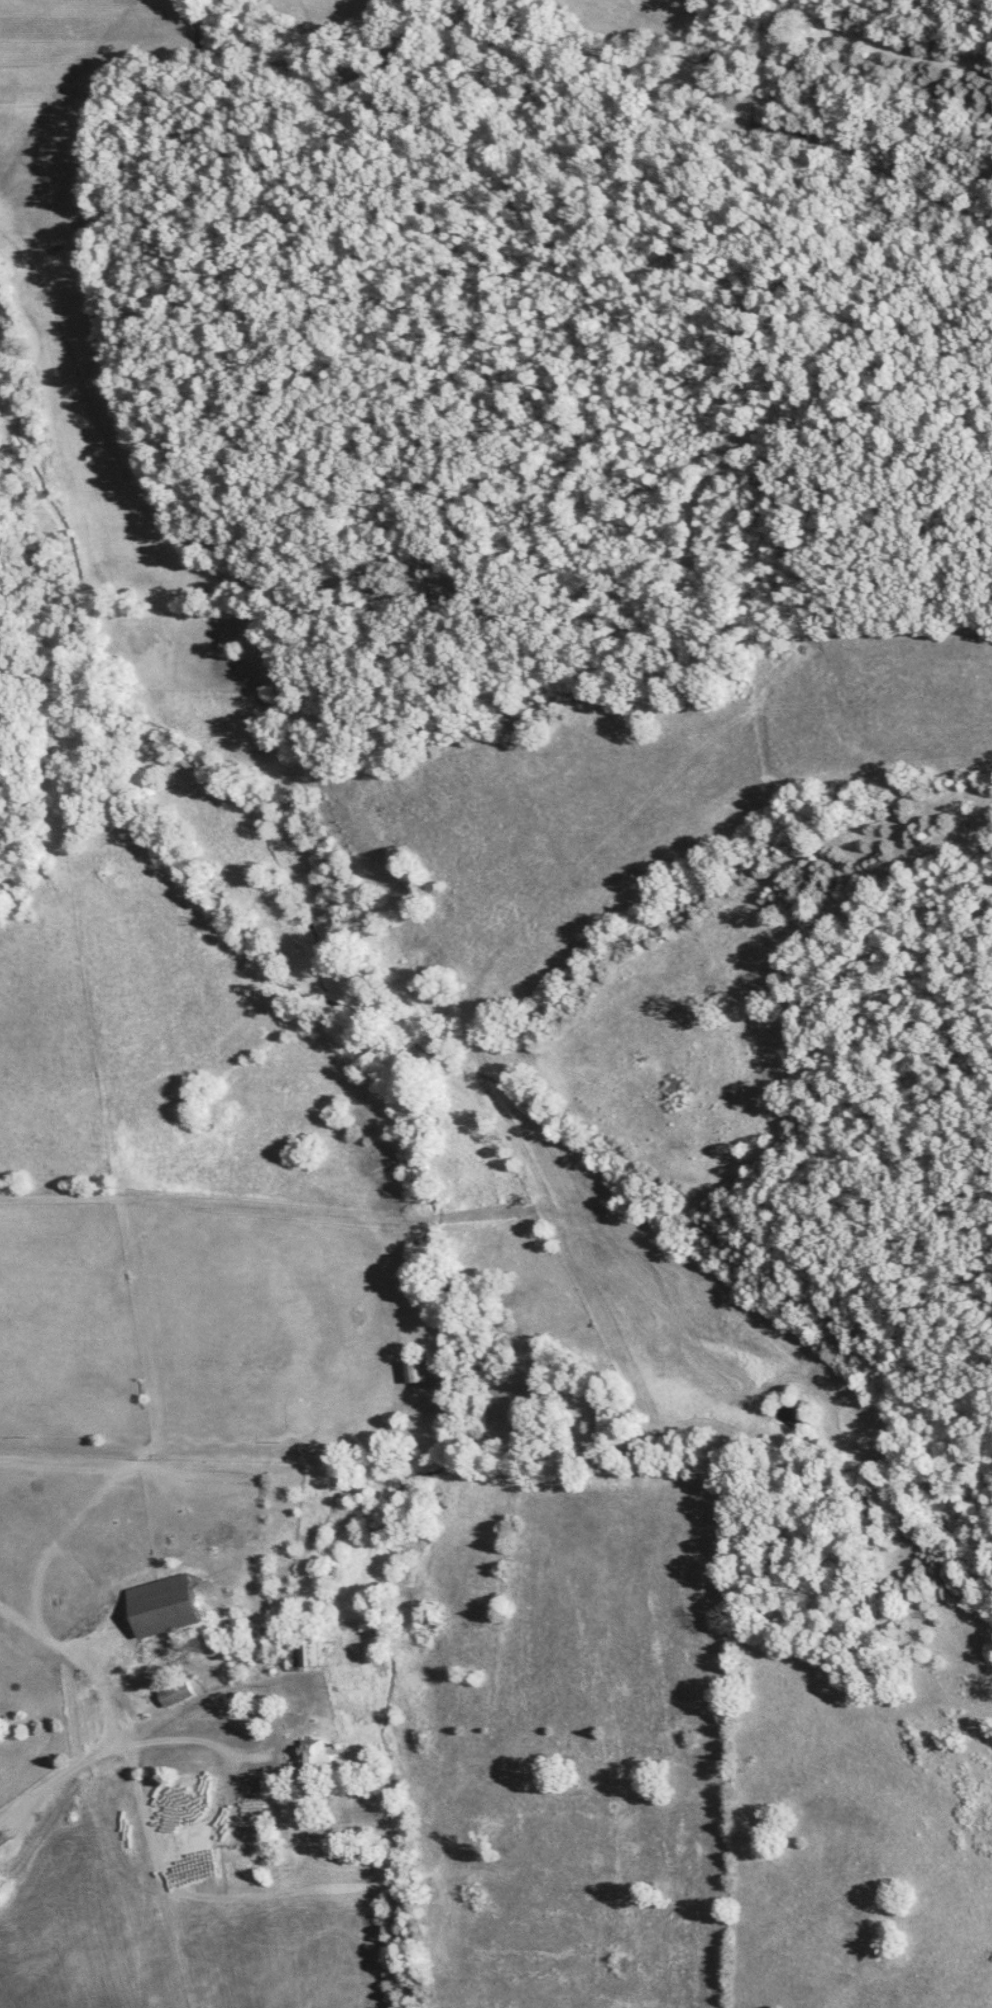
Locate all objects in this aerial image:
road: (12, 232)
building: (421, 1369)
building: (161, 1606)
building: (304, 1655)
building: (174, 1692)
building: (314, 1752)
road: (170, 1753)
building: (268, 1784)

